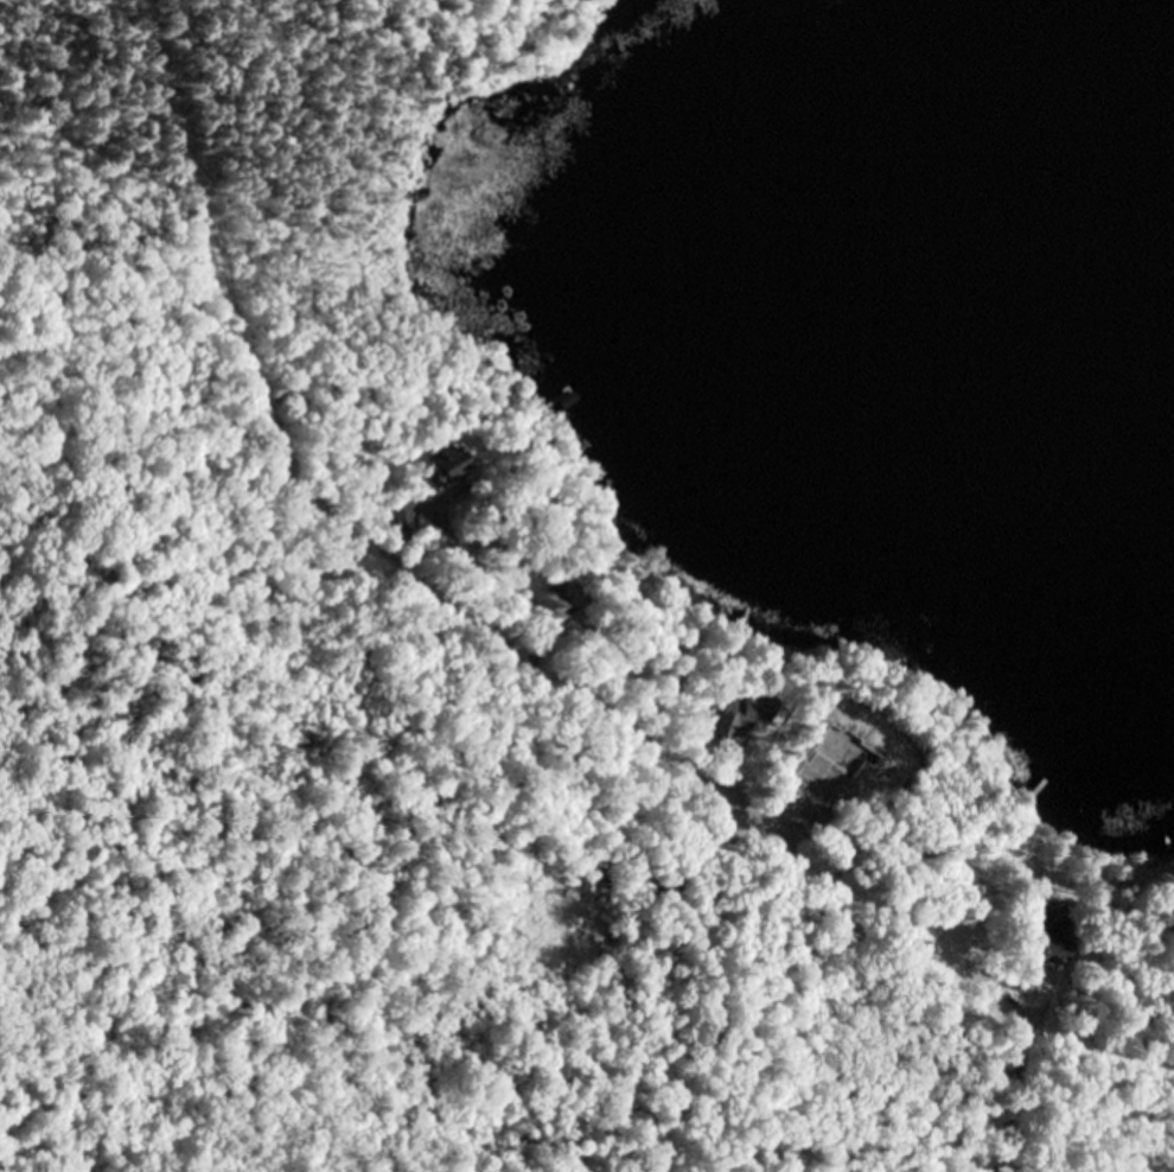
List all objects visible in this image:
road: (519, 643)
road: (653, 861)
road: (742, 905)
road: (1167, 999)
road: (938, 1043)

